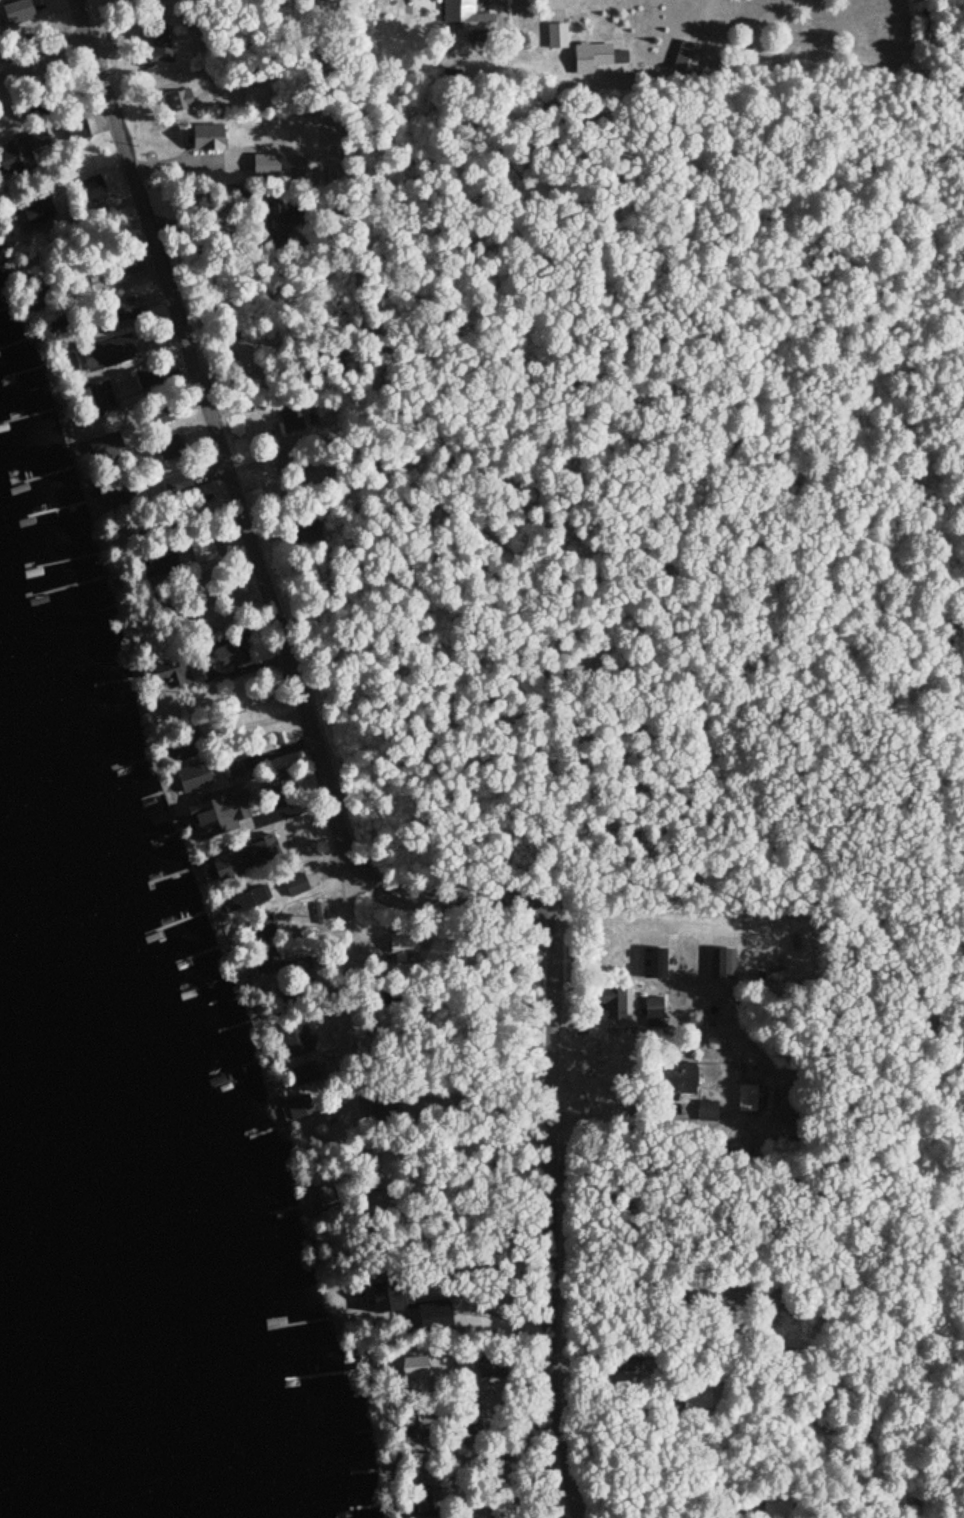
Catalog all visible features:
building: (19, 15)
building: (468, 15)
building: (558, 35)
building: (159, 47)
building: (596, 57)
building: (688, 58)
building: (182, 101)
building: (37, 110)
building: (78, 131)
building: (208, 138)
building: (23, 152)
building: (266, 166)
building: (39, 211)
building: (274, 220)
building: (130, 264)
building: (124, 309)
building: (109, 353)
building: (148, 377)
building: (103, 398)
building: (292, 420)
road: (218, 435)
building: (170, 445)
building: (106, 446)
building: (285, 459)
building: (179, 485)
building: (127, 499)
building: (307, 531)
building: (203, 550)
building: (162, 564)
building: (233, 656)
building: (166, 673)
building: (233, 772)
building: (192, 779)
building: (274, 793)
building: (238, 811)
building: (279, 850)
building: (227, 869)
building: (297, 886)
building: (249, 901)
building: (259, 931)
building: (268, 963)
building: (615, 1003)
road: (346, 1008)
building: (654, 1012)
building: (301, 1048)
building: (305, 1073)
building: (681, 1078)
building: (747, 1099)
building: (383, 1107)
building: (300, 1109)
building: (708, 1111)
road: (553, 1114)
road: (461, 1135)
building: (324, 1200)
building: (376, 1204)
building: (625, 1362)
building: (493, 1368)
building: (413, 1375)
building: (698, 1395)
building: (469, 1427)
building: (416, 1429)
building: (417, 1468)
building: (511, 1470)
building: (425, 1504)
building: (501, 1506)
building: (777, 1506)

